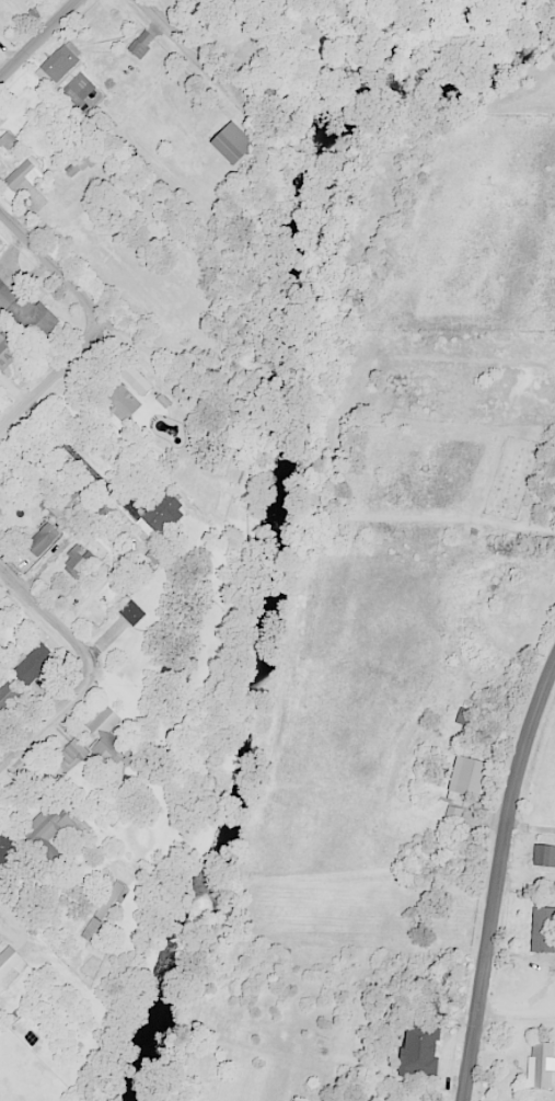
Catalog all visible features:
building: (33, 4)
road: (38, 38)
road: (193, 56)
building: (59, 62)
building: (78, 89)
building: (5, 141)
building: (21, 174)
road: (56, 246)
building: (26, 311)
building: (7, 347)
road: (57, 363)
building: (134, 380)
building: (115, 399)
road: (78, 452)
river: (286, 479)
building: (60, 497)
building: (161, 509)
building: (99, 514)
building: (41, 539)
building: (77, 559)
building: (130, 611)
road: (44, 626)
building: (33, 665)
building: (463, 715)
road: (44, 716)
building: (101, 734)
building: (465, 775)
building: (451, 813)
road: (531, 827)
building: (50, 829)
building: (5, 847)
building: (543, 855)
road: (497, 882)
building: (101, 914)
building: (542, 929)
road: (23, 933)
building: (9, 965)
road: (517, 1016)
building: (540, 1064)

